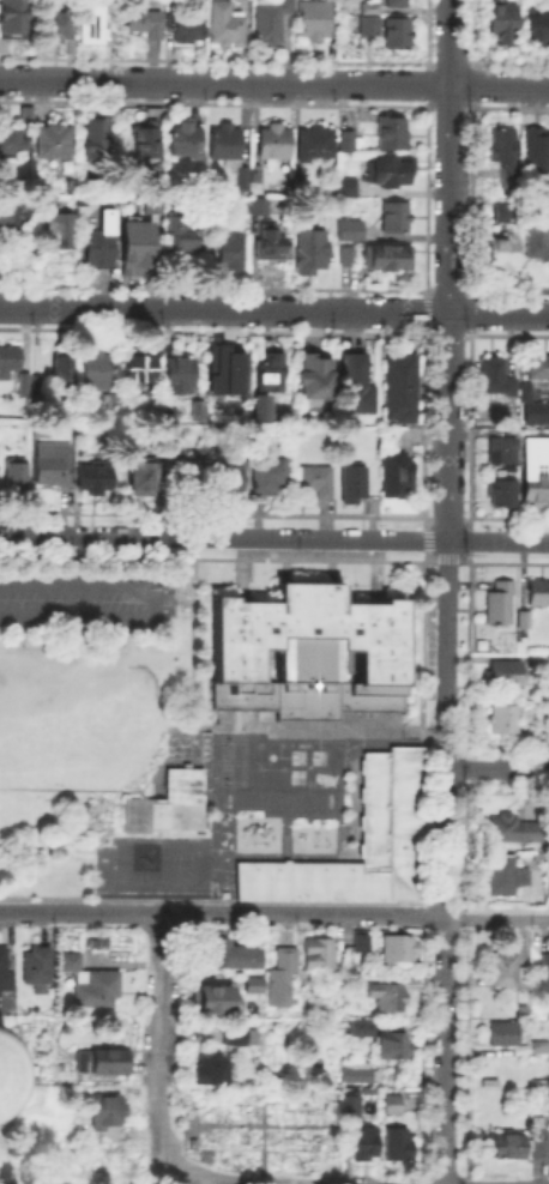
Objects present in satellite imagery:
building: (400, 4)
building: (372, 18)
building: (93, 19)
building: (503, 20)
building: (273, 22)
building: (316, 22)
building: (13, 23)
building: (230, 24)
building: (145, 25)
building: (60, 28)
building: (537, 28)
building: (187, 29)
building: (398, 35)
road: (273, 83)
building: (393, 135)
building: (13, 141)
building: (97, 141)
building: (351, 141)
building: (55, 143)
building: (187, 143)
building: (276, 145)
building: (319, 146)
building: (149, 150)
building: (537, 151)
building: (506, 152)
building: (231, 153)
building: (392, 171)
building: (258, 176)
building: (349, 189)
building: (153, 204)
building: (263, 207)
building: (506, 213)
building: (16, 216)
building: (398, 219)
building: (351, 231)
building: (185, 234)
building: (139, 242)
building: (60, 243)
building: (272, 243)
building: (537, 244)
building: (99, 249)
building: (231, 253)
building: (313, 254)
building: (344, 254)
building: (505, 254)
building: (350, 258)
building: (390, 259)
road: (224, 309)
road: (499, 314)
building: (10, 362)
building: (64, 367)
building: (141, 368)
building: (536, 368)
building: (221, 369)
building: (97, 370)
building: (180, 375)
building: (310, 376)
building: (493, 376)
building: (273, 379)
building: (357, 386)
building: (26, 387)
building: (523, 389)
building: (37, 391)
building: (402, 391)
building: (111, 400)
building: (257, 405)
building: (531, 411)
building: (503, 452)
building: (50, 458)
building: (183, 469)
building: (398, 476)
building: (17, 477)
building: (95, 478)
building: (144, 478)
building: (272, 478)
building: (231, 479)
building: (316, 483)
building: (355, 483)
building: (536, 489)
building: (503, 495)
road: (274, 538)
road: (447, 591)
building: (539, 594)
road: (153, 602)
building: (501, 604)
building: (525, 623)
building: (309, 651)
building: (505, 676)
park: (22, 706)
park: (108, 713)
building: (505, 720)
road: (330, 729)
park: (270, 755)
park: (296, 755)
park: (316, 756)
park: (229, 760)
road: (497, 768)
park: (296, 774)
road: (126, 789)
track: (277, 799)
building: (393, 805)
building: (170, 807)
park: (224, 816)
building: (515, 832)
park: (224, 836)
building: (501, 876)
park: (223, 880)
road: (223, 912)
road: (496, 919)
building: (98, 940)
building: (357, 941)
building: (227, 950)
building: (400, 950)
building: (321, 955)
building: (73, 963)
building: (6, 967)
building: (38, 968)
building: (509, 971)
building: (545, 978)
building: (283, 979)
building: (258, 983)
building: (98, 987)
building: (219, 996)
building: (388, 997)
building: (362, 1032)
road: (159, 1034)
building: (505, 1035)
building: (241, 1037)
building: (393, 1047)
building: (102, 1063)
building: (210, 1068)
building: (366, 1074)
building: (354, 1106)
building: (396, 1106)
building: (109, 1112)
building: (367, 1144)
building: (399, 1146)
building: (508, 1147)
building: (541, 1150)
road: (212, 1177)

